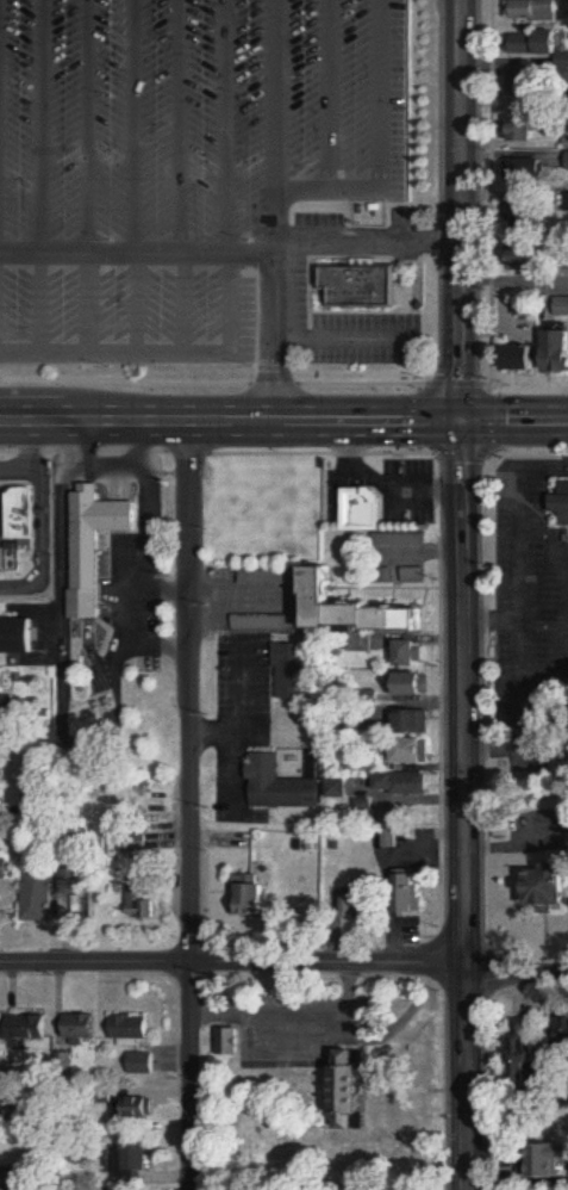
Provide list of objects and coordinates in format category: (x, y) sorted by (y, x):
building: (529, 11)
building: (535, 47)
building: (526, 86)
road: (270, 117)
road: (43, 128)
road: (77, 128)
road: (139, 128)
road: (176, 128)
road: (227, 128)
building: (522, 130)
building: (524, 168)
parking lot: (227, 185)
road: (454, 211)
building: (523, 213)
road: (349, 231)
road: (218, 256)
road: (511, 281)
building: (357, 285)
building: (556, 352)
building: (518, 358)
road: (511, 424)
road: (226, 426)
building: (561, 504)
building: (362, 510)
building: (21, 515)
building: (394, 541)
building: (92, 546)
road: (516, 551)
building: (411, 576)
road: (219, 588)
building: (358, 609)
building: (261, 624)
building: (17, 637)
building: (411, 655)
building: (291, 673)
building: (412, 684)
road: (461, 690)
building: (5, 704)
building: (413, 723)
road: (227, 745)
building: (408, 752)
building: (360, 764)
building: (404, 785)
building: (281, 787)
building: (336, 789)
building: (0, 799)
road: (192, 807)
building: (391, 838)
building: (135, 844)
building: (4, 870)
building: (73, 884)
building: (548, 888)
building: (408, 894)
building: (250, 897)
building: (36, 898)
building: (138, 903)
road: (517, 960)
road: (232, 963)
road: (293, 1012)
building: (27, 1029)
building: (81, 1029)
building: (130, 1029)
building: (562, 1037)
building: (525, 1052)
building: (143, 1065)
road: (467, 1073)
building: (355, 1091)
building: (136, 1108)
building: (132, 1160)
building: (549, 1163)
building: (14, 1178)

